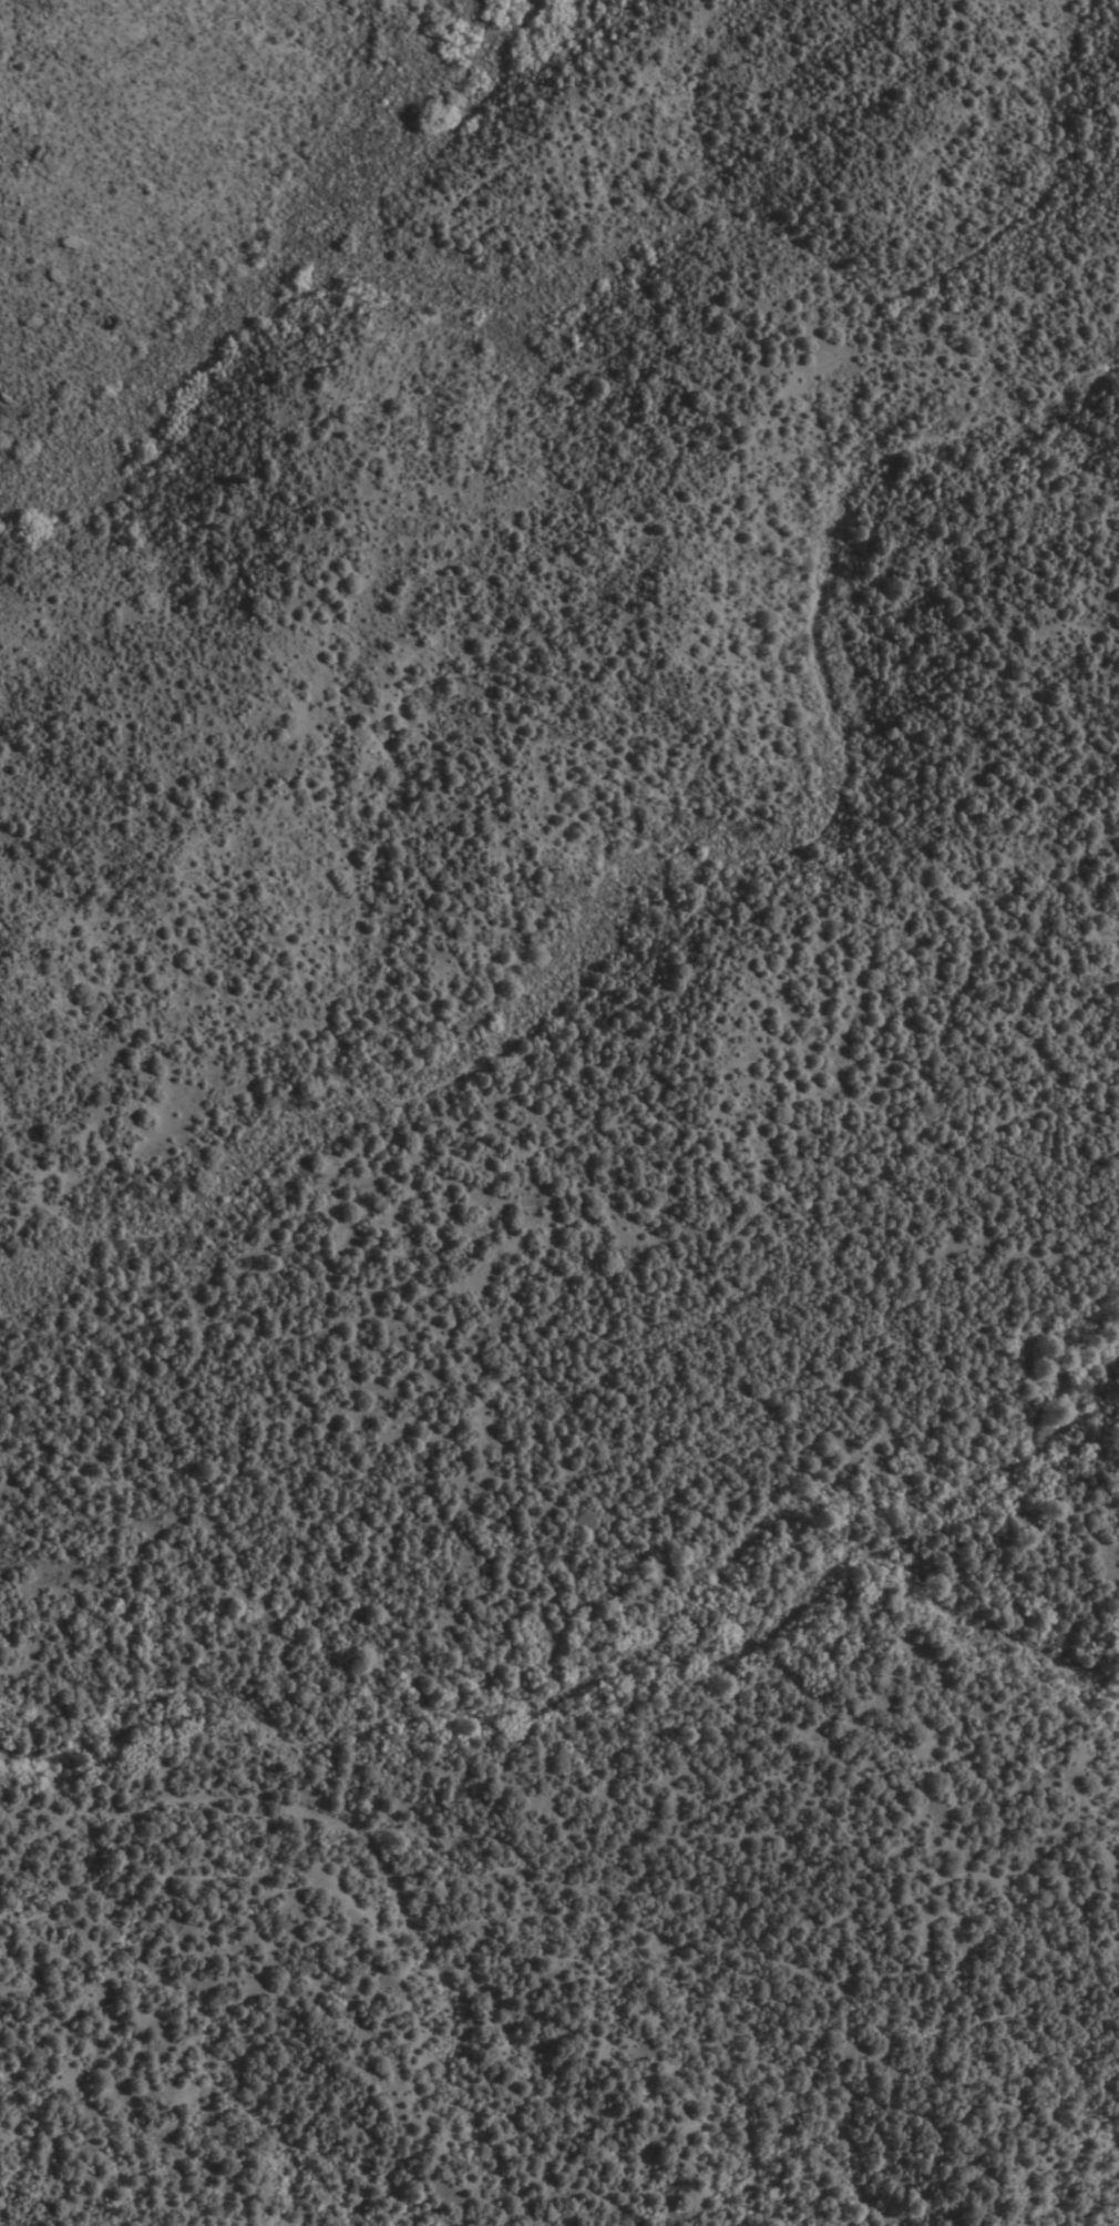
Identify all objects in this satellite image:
road: (557, 1957)

